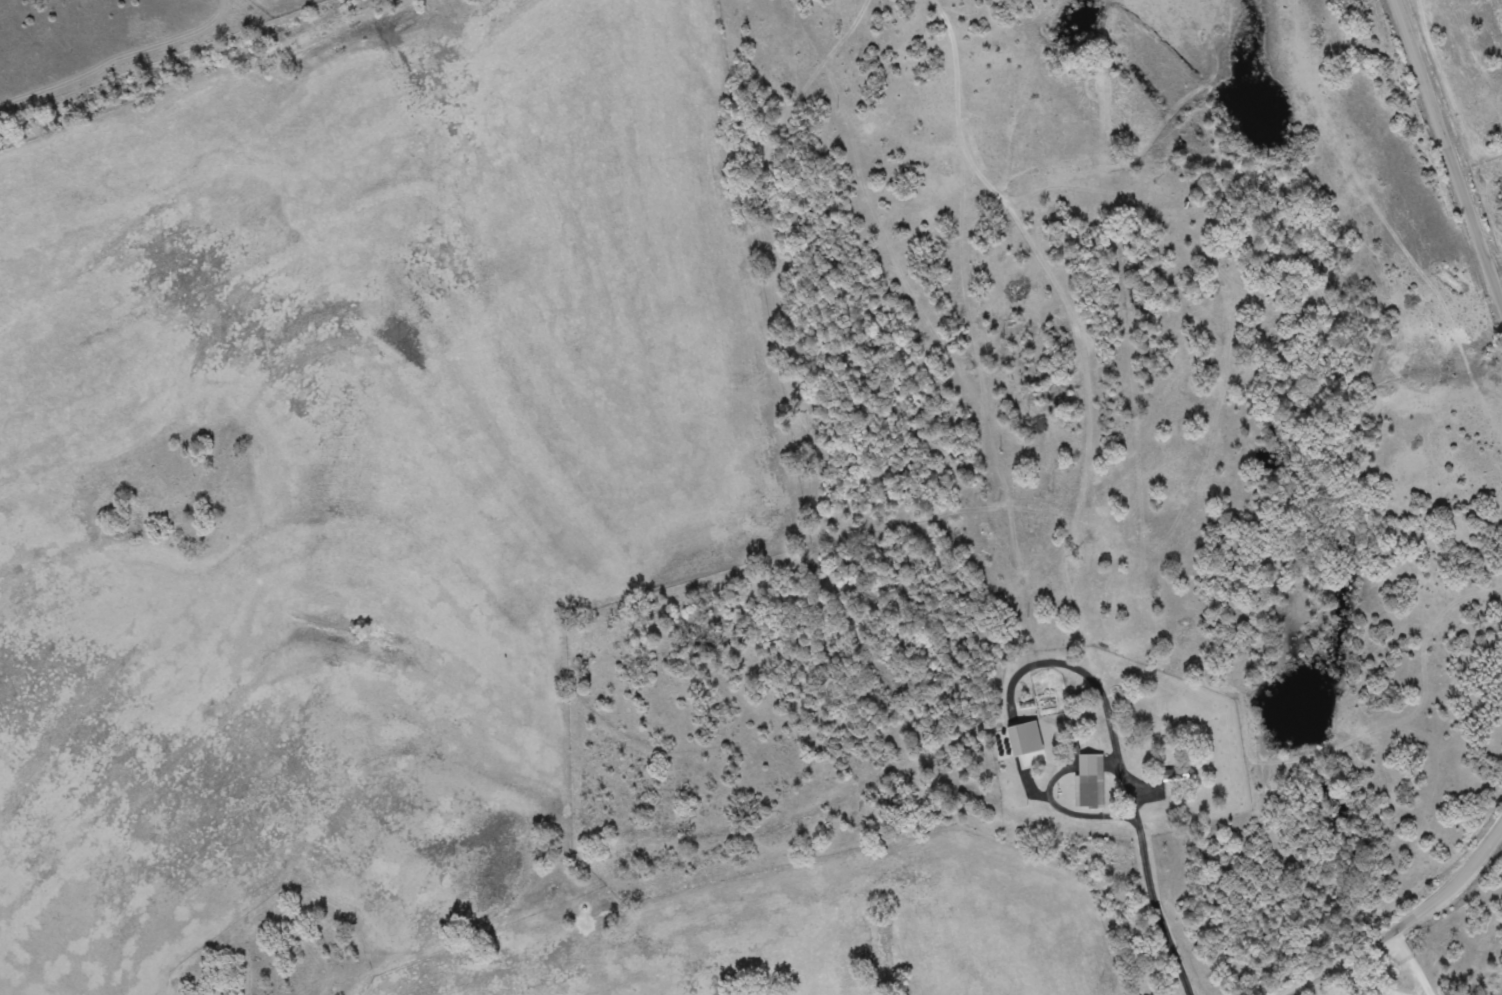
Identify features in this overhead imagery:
road: (1443, 167)
building: (1022, 738)
building: (1089, 781)
road: (1406, 918)

